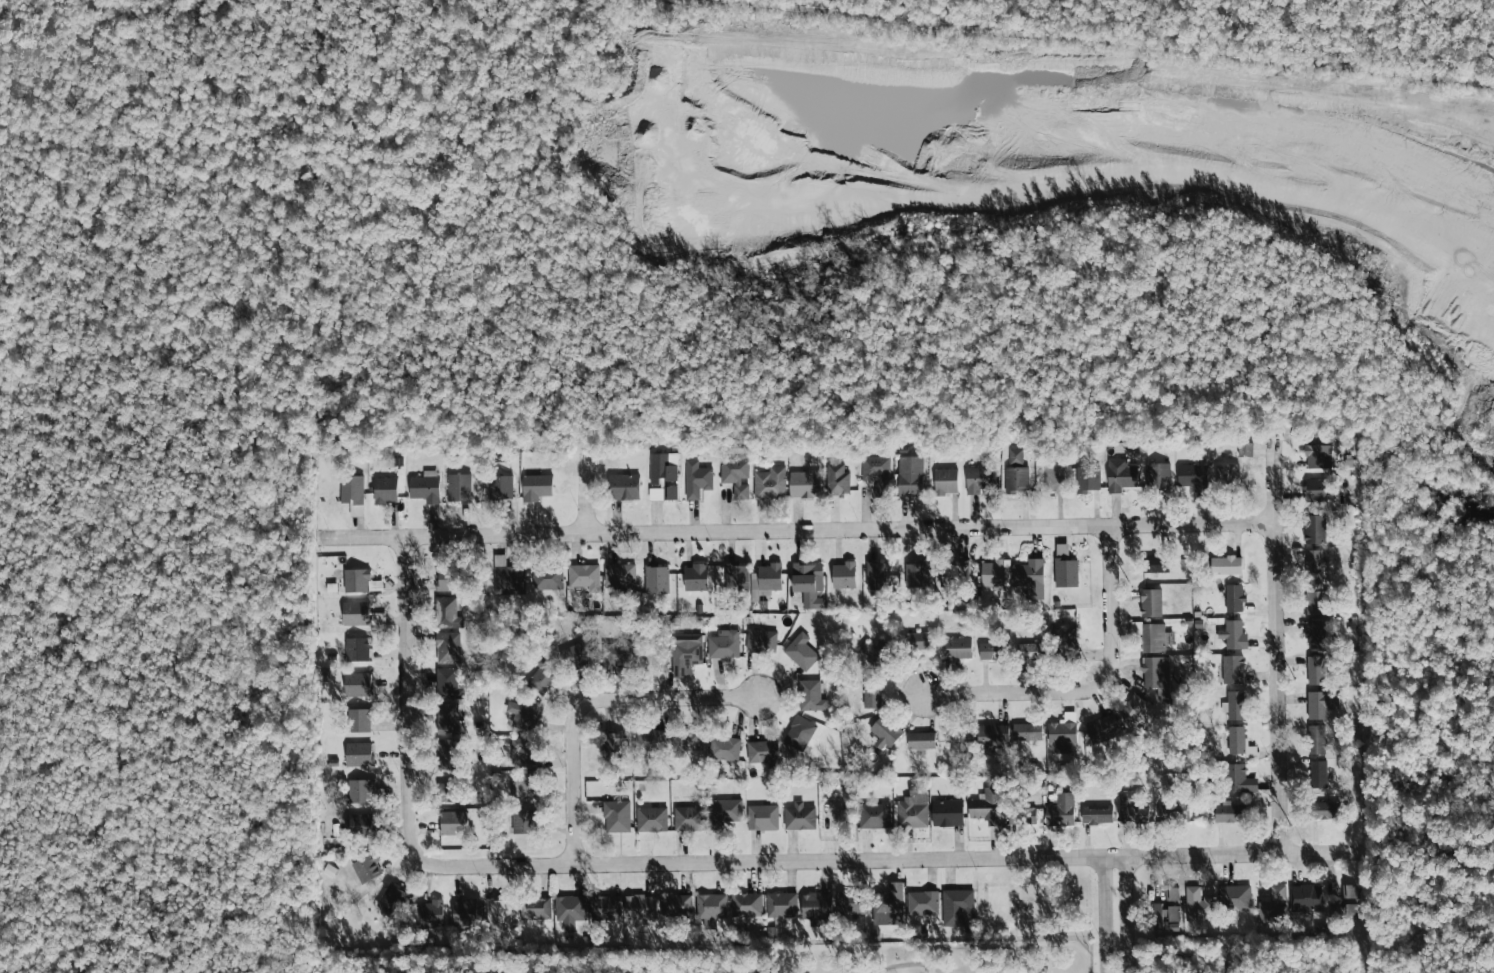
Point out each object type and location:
building: (1244, 449)
building: (1014, 456)
building: (1317, 456)
building: (662, 467)
building: (875, 471)
building: (1226, 474)
building: (1120, 475)
building: (735, 476)
building: (909, 476)
building: (1158, 476)
building: (1193, 476)
building: (1016, 478)
building: (696, 479)
building: (836, 479)
building: (977, 479)
building: (1087, 479)
building: (945, 481)
building: (769, 483)
building: (804, 484)
building: (425, 486)
building: (501, 486)
building: (623, 486)
road: (1274, 486)
building: (535, 487)
building: (458, 488)
building: (385, 489)
building: (1319, 489)
building: (352, 493)
building: (662, 493)
road: (588, 495)
building: (1314, 529)
road: (839, 532)
road: (346, 540)
building: (1157, 564)
building: (1314, 564)
building: (1226, 565)
building: (1065, 567)
building: (993, 573)
building: (955, 574)
building: (507, 575)
building: (620, 575)
building: (844, 575)
building: (916, 575)
building: (584, 576)
building: (877, 576)
building: (695, 577)
building: (1031, 577)
building: (547, 578)
building: (737, 578)
building: (357, 579)
building: (656, 579)
building: (765, 580)
building: (808, 583)
building: (1233, 598)
building: (1315, 598)
building: (1150, 602)
building: (447, 612)
building: (356, 613)
building: (1314, 633)
building: (1232, 634)
building: (1150, 635)
building: (917, 640)
building: (760, 641)
building: (1065, 643)
building: (724, 644)
building: (447, 647)
building: (957, 647)
building: (357, 649)
building: (875, 649)
building: (801, 651)
building: (992, 651)
building: (1032, 651)
building: (686, 653)
building: (617, 654)
building: (576, 656)
building: (1232, 669)
building: (1315, 670)
building: (1157, 675)
building: (543, 677)
building: (356, 684)
building: (448, 684)
road: (1092, 689)
road: (1278, 692)
building: (871, 693)
building: (811, 696)
road: (407, 701)
building: (1321, 703)
road: (589, 705)
building: (1133, 705)
building: (1235, 705)
building: (526, 714)
building: (448, 719)
building: (360, 720)
building: (1101, 728)
building: (1027, 731)
building: (885, 732)
building: (799, 733)
building: (959, 734)
building: (991, 735)
building: (1062, 735)
building: (617, 739)
building: (687, 739)
building: (1315, 739)
building: (650, 740)
building: (920, 740)
building: (1239, 742)
building: (724, 748)
building: (525, 752)
building: (763, 752)
building: (449, 753)
building: (358, 754)
building: (1318, 774)
building: (1239, 779)
building: (527, 788)
building: (359, 790)
building: (986, 806)
building: (1131, 806)
building: (1324, 809)
building: (913, 810)
building: (1060, 810)
building: (724, 812)
building: (1174, 812)
building: (1228, 812)
building: (947, 813)
building: (1096, 814)
building: (874, 815)
building: (1020, 815)
building: (617, 816)
building: (799, 816)
building: (762, 817)
building: (689, 818)
building: (651, 819)
building: (524, 821)
building: (453, 822)
building: (359, 825)
road: (1321, 856)
road: (1204, 857)
road: (1115, 858)
road: (761, 864)
building: (366, 868)
building: (1347, 891)
building: (1171, 893)
building: (1234, 897)
building: (1305, 898)
building: (392, 899)
building: (852, 902)
building: (922, 902)
building: (746, 904)
building: (781, 904)
building: (1197, 904)
building: (674, 905)
building: (888, 905)
building: (640, 906)
building: (957, 906)
building: (605, 907)
building: (817, 907)
building: (1272, 907)
building: (710, 908)
building: (535, 909)
building: (1332, 909)
building: (1349, 910)
building: (569, 911)
building: (430, 913)
building: (464, 913)
building: (1163, 914)
road: (1127, 915)
road: (1105, 916)
building: (498, 922)
road: (909, 964)

